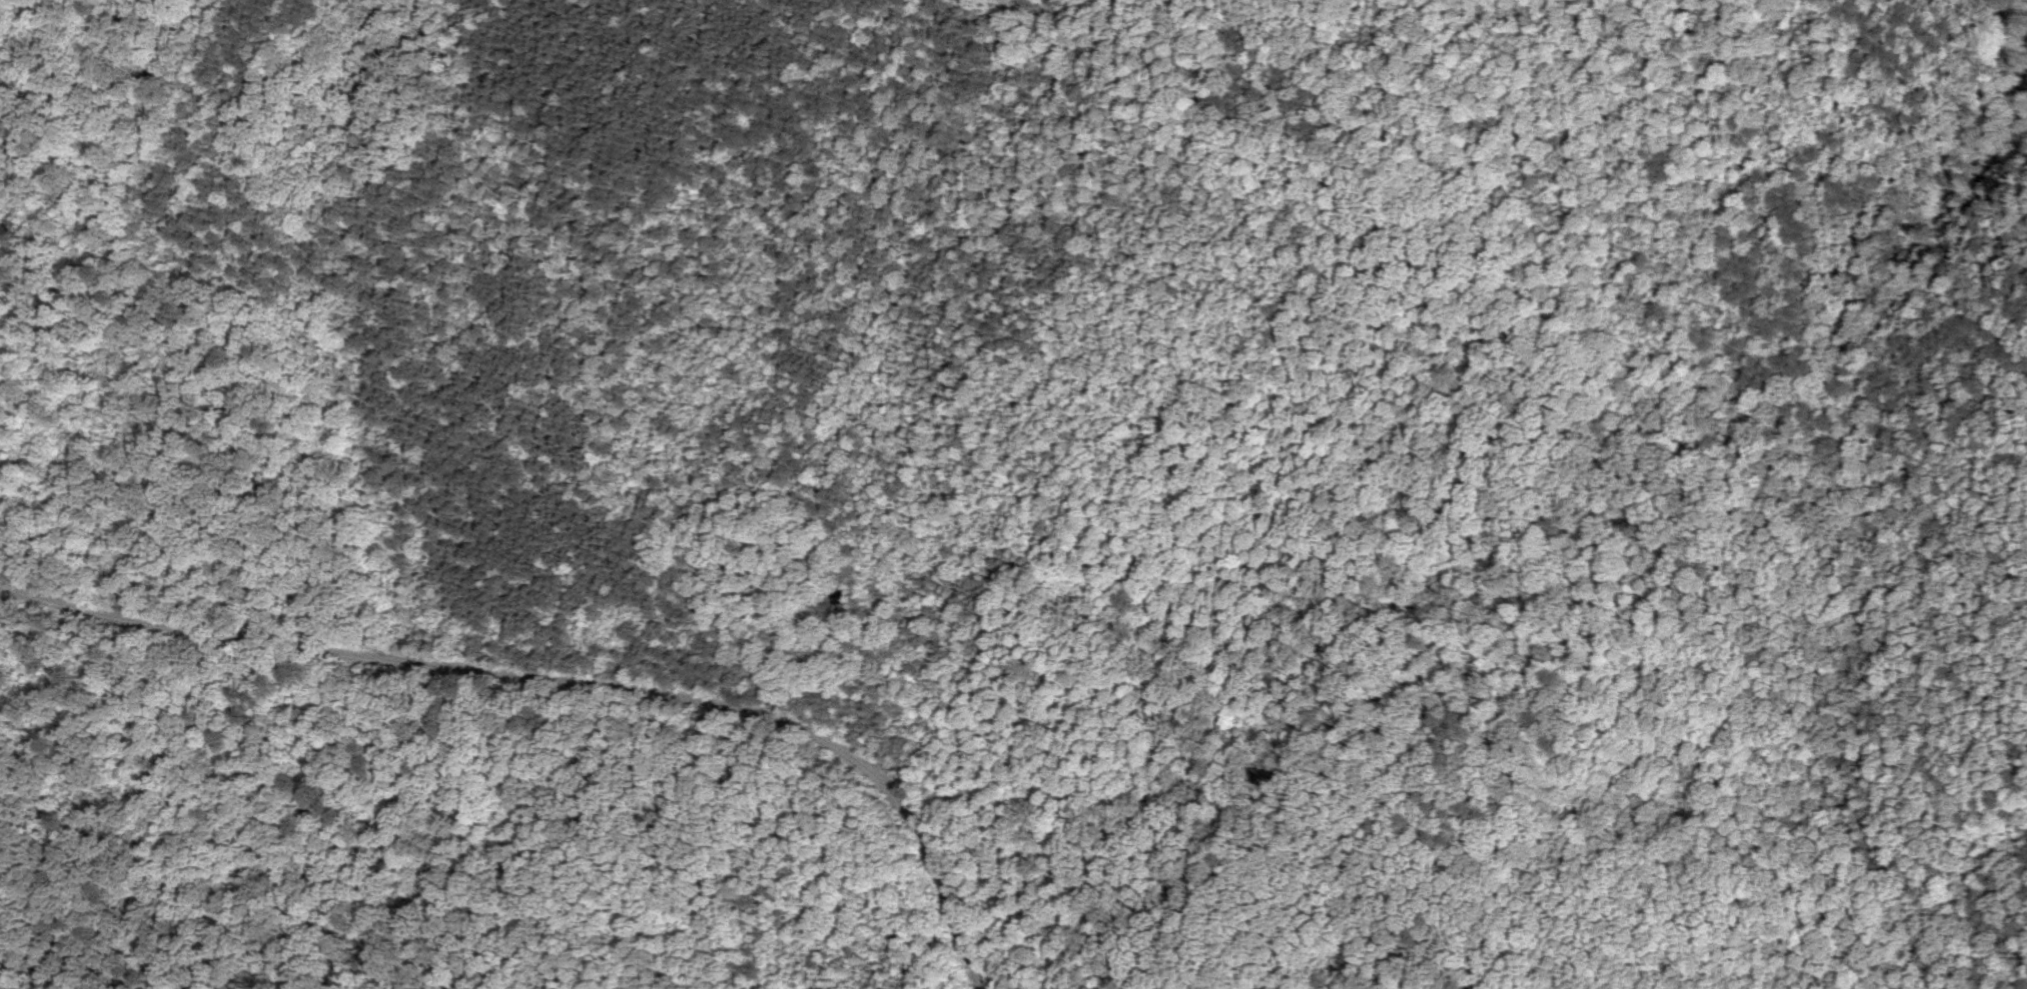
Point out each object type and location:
park: (974, 6)
park: (2022, 14)
park: (412, 28)
road: (562, 680)
park: (17, 970)

